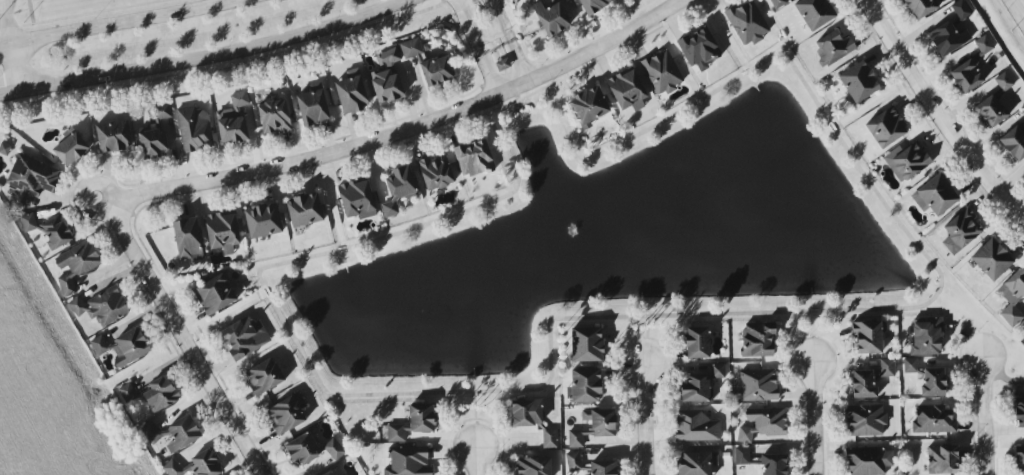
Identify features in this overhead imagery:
parking lot: (2, 0)
building: (778, 3)
road: (6, 5)
building: (594, 5)
building: (922, 7)
building: (961, 10)
road: (1016, 12)
building: (815, 13)
building: (551, 16)
building: (747, 23)
road: (10, 24)
road: (119, 24)
building: (947, 38)
road: (510, 41)
building: (833, 47)
building: (411, 48)
road: (475, 48)
building: (699, 48)
road: (202, 59)
road: (17, 67)
building: (437, 71)
building: (662, 73)
road: (745, 73)
road: (581, 74)
building: (387, 77)
building: (859, 82)
building: (1003, 82)
building: (627, 90)
building: (352, 92)
road: (515, 95)
road: (516, 101)
building: (589, 105)
building: (312, 106)
building: (991, 111)
building: (160, 112)
road: (937, 115)
building: (275, 116)
building: (233, 120)
building: (886, 127)
building: (194, 129)
road: (411, 129)
road: (453, 131)
building: (113, 136)
road: (627, 140)
building: (1015, 140)
building: (152, 143)
building: (71, 147)
building: (474, 158)
building: (906, 162)
building: (436, 172)
building: (32, 175)
road: (81, 188)
building: (398, 188)
building: (935, 195)
building: (357, 199)
road: (471, 209)
road: (887, 209)
building: (305, 210)
building: (263, 221)
building: (48, 230)
fountain: (573, 230)
building: (222, 231)
building: (961, 231)
building: (188, 239)
road: (341, 250)
building: (992, 259)
road: (287, 262)
building: (76, 265)
road: (265, 291)
building: (215, 294)
building: (1013, 295)
building: (101, 306)
road: (814, 311)
building: (868, 336)
building: (245, 337)
building: (926, 337)
road: (185, 340)
building: (758, 340)
building: (1023, 341)
road: (646, 342)
building: (697, 342)
building: (587, 344)
building: (99, 345)
building: (130, 346)
building: (910, 365)
building: (886, 368)
building: (718, 371)
building: (264, 376)
building: (933, 382)
building: (864, 384)
building: (585, 385)
building: (757, 385)
road: (541, 387)
building: (128, 394)
building: (160, 394)
building: (526, 412)
building: (287, 413)
road: (817, 416)
road: (987, 416)
building: (422, 418)
road: (475, 419)
building: (934, 420)
road: (645, 421)
building: (865, 421)
building: (764, 423)
building: (593, 426)
building: (695, 426)
building: (396, 433)
building: (173, 434)
building: (550, 438)
building: (303, 448)
building: (334, 449)
building: (742, 455)
building: (942, 459)
building: (869, 460)
building: (409, 461)
road: (476, 461)
building: (574, 461)
building: (206, 463)
building: (696, 463)
building: (1019, 463)
building: (774, 464)
building: (533, 466)
building: (604, 467)
building: (177, 468)
building: (326, 474)

